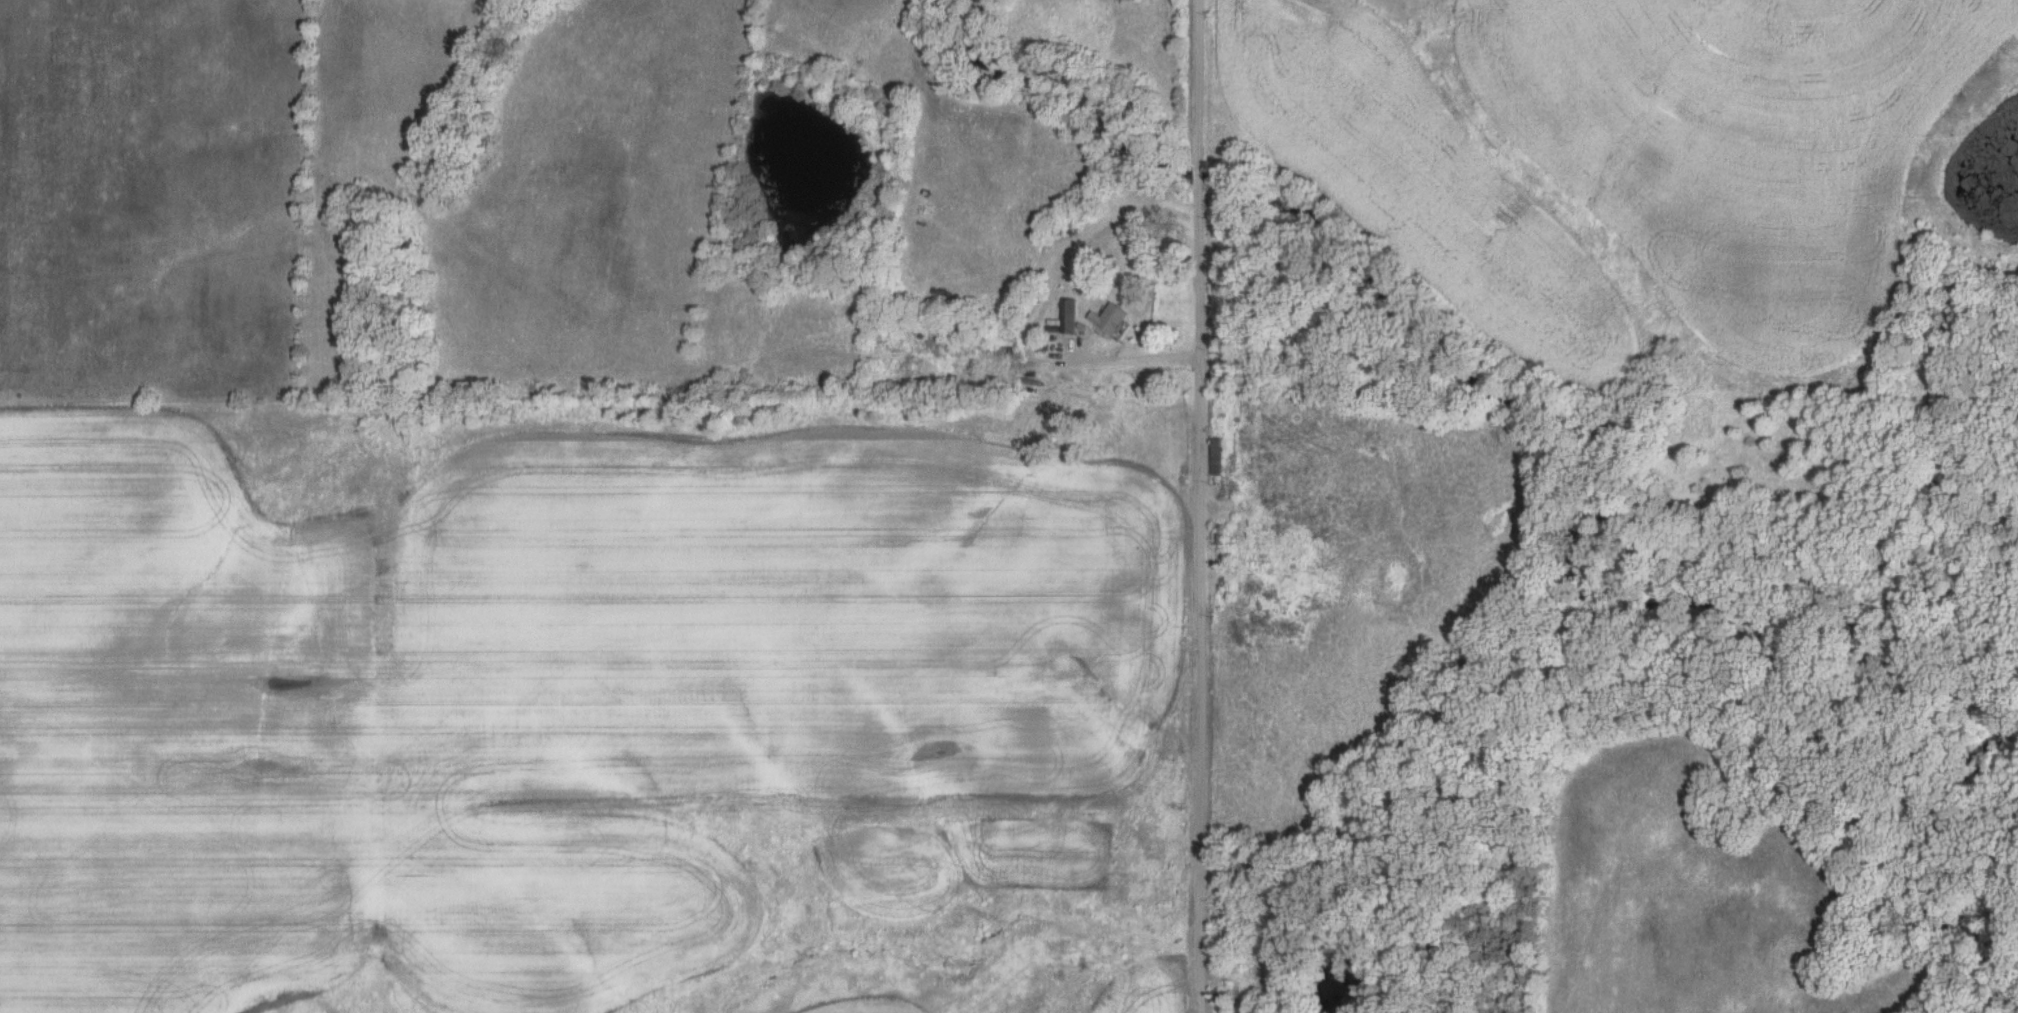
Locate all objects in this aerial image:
building: (1070, 316)
building: (1112, 317)
building: (1217, 455)
road: (1179, 506)

